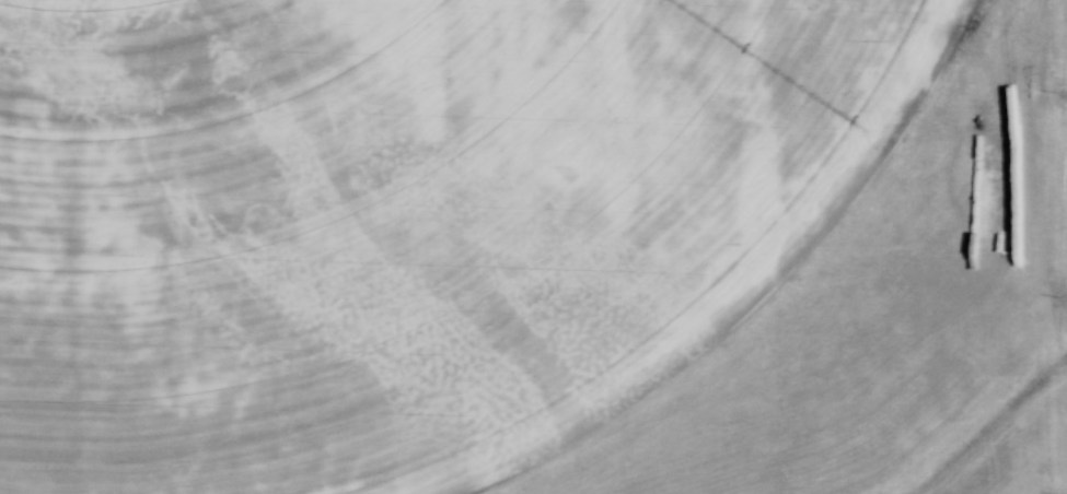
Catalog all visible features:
crop: (533, 247)

